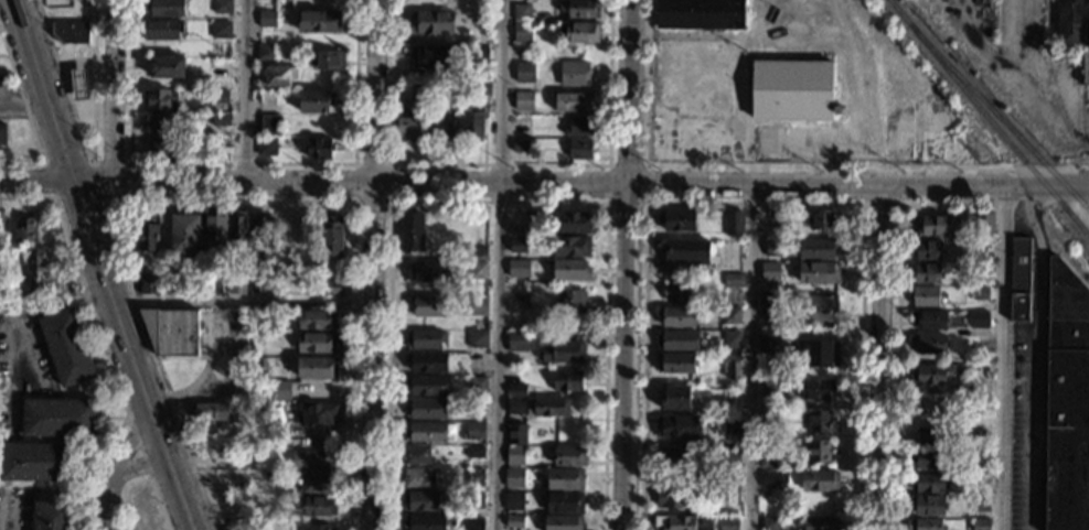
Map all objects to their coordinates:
building: (164, 7)
building: (222, 7)
building: (580, 8)
building: (522, 11)
railway: (898, 12)
building: (701, 14)
building: (267, 18)
building: (318, 21)
building: (433, 21)
road: (1031, 26)
building: (162, 29)
building: (221, 30)
building: (1075, 30)
building: (71, 32)
building: (465, 32)
building: (579, 32)
building: (524, 33)
building: (265, 52)
building: (537, 52)
building: (693, 53)
building: (479, 54)
building: (431, 56)
building: (325, 60)
building: (168, 66)
building: (524, 72)
building: (575, 73)
building: (280, 75)
building: (78, 84)
building: (481, 88)
building: (792, 89)
road: (113, 90)
road: (244, 91)
road: (373, 91)
building: (218, 97)
road: (22, 98)
building: (161, 99)
building: (316, 100)
building: (524, 100)
building: (573, 101)
railway: (990, 102)
building: (695, 116)
road: (28, 117)
building: (896, 118)
railway: (999, 118)
building: (221, 120)
building: (472, 121)
building: (522, 121)
building: (161, 122)
building: (270, 125)
building: (439, 125)
building: (409, 126)
building: (578, 127)
railway: (1000, 132)
building: (3, 133)
building: (217, 145)
building: (266, 145)
building: (163, 147)
building: (522, 147)
building: (319, 148)
building: (940, 148)
building: (579, 149)
road: (89, 158)
road: (242, 163)
road: (499, 164)
road: (784, 165)
road: (129, 176)
road: (55, 183)
road: (243, 184)
road: (730, 187)
road: (55, 197)
road: (233, 201)
road: (608, 201)
road: (391, 202)
road: (499, 202)
road: (754, 203)
road: (899, 203)
building: (1, 218)
building: (677, 219)
building: (822, 219)
building: (215, 221)
building: (569, 221)
building: (984, 221)
railway: (1077, 221)
building: (733, 223)
building: (260, 225)
building: (935, 225)
building: (237, 227)
building: (519, 227)
building: (25, 228)
building: (410, 231)
building: (184, 232)
building: (147, 236)
building: (296, 236)
building: (331, 236)
road: (115, 240)
road: (113, 244)
road: (372, 244)
building: (517, 245)
building: (572, 246)
building: (772, 247)
building: (818, 248)
building: (929, 250)
building: (479, 251)
building: (687, 251)
road: (502, 264)
road: (628, 264)
road: (99, 266)
building: (138, 266)
building: (519, 268)
building: (35, 269)
building: (478, 269)
building: (570, 269)
building: (428, 270)
building: (770, 270)
building: (819, 272)
building: (928, 273)
building: (1019, 279)
building: (733, 280)
building: (149, 284)
building: (257, 284)
building: (313, 284)
building: (214, 285)
building: (237, 285)
building: (334, 288)
building: (674, 289)
building: (517, 293)
building: (981, 293)
building: (926, 295)
building: (572, 300)
road: (242, 303)
building: (427, 304)
building: (477, 305)
building: (770, 305)
building: (821, 307)
building: (730, 315)
road: (897, 315)
building: (677, 316)
building: (978, 318)
building: (317, 320)
building: (929, 320)
road: (13, 321)
building: (770, 323)
building: (171, 331)
building: (717, 335)
building: (477, 337)
building: (424, 338)
building: (732, 339)
road: (102, 340)
building: (517, 340)
building: (676, 340)
building: (769, 340)
building: (317, 342)
building: (928, 344)
building: (66, 346)
building: (562, 351)
building: (816, 353)
road: (1035, 357)
road: (752, 358)
building: (965, 358)
road: (1001, 359)
building: (476, 360)
road: (883, 360)
building: (427, 361)
building: (675, 363)
parking lot: (22, 366)
building: (730, 366)
building: (317, 367)
building: (928, 374)
road: (202, 380)
building: (567, 380)
road: (87, 385)
building: (426, 385)
building: (477, 386)
building: (769, 388)
building: (815, 388)
building: (280, 389)
building: (516, 391)
building: (675, 398)
building: (1066, 400)
building: (263, 405)
building: (515, 407)
building: (549, 407)
building: (426, 408)
building: (477, 408)
building: (212, 410)
building: (318, 412)
road: (370, 417)
building: (58, 418)
building: (769, 419)
building: (819, 420)
building: (732, 425)
building: (676, 426)
building: (474, 430)
building: (425, 431)
building: (982, 431)
building: (515, 434)
building: (930, 435)
road: (137, 446)
building: (819, 451)
building: (474, 452)
building: (415, 454)
building: (981, 454)
building: (515, 455)
building: (569, 455)
building: (729, 456)
building: (224, 457)
building: (672, 458)
building: (769, 458)
building: (927, 458)
building: (310, 459)
building: (36, 462)
road: (113, 468)
building: (276, 477)
building: (417, 477)
building: (474, 477)
building: (514, 477)
road: (142, 479)
building: (564, 479)
building: (770, 479)
building: (820, 480)
building: (928, 482)
building: (317, 483)
road: (38, 490)
building: (729, 490)
building: (674, 497)
building: (420, 500)
building: (474, 500)
building: (514, 501)
building: (564, 502)
building: (981, 502)
building: (244, 504)
building: (927, 505)
building: (319, 506)
building: (51, 515)
building: (423, 521)
building: (514, 521)
building: (563, 522)
building: (685, 522)
building: (770, 522)
building: (821, 522)
building: (727, 523)
building: (925, 523)
building: (474, 524)
building: (981, 524)
building: (318, 527)

